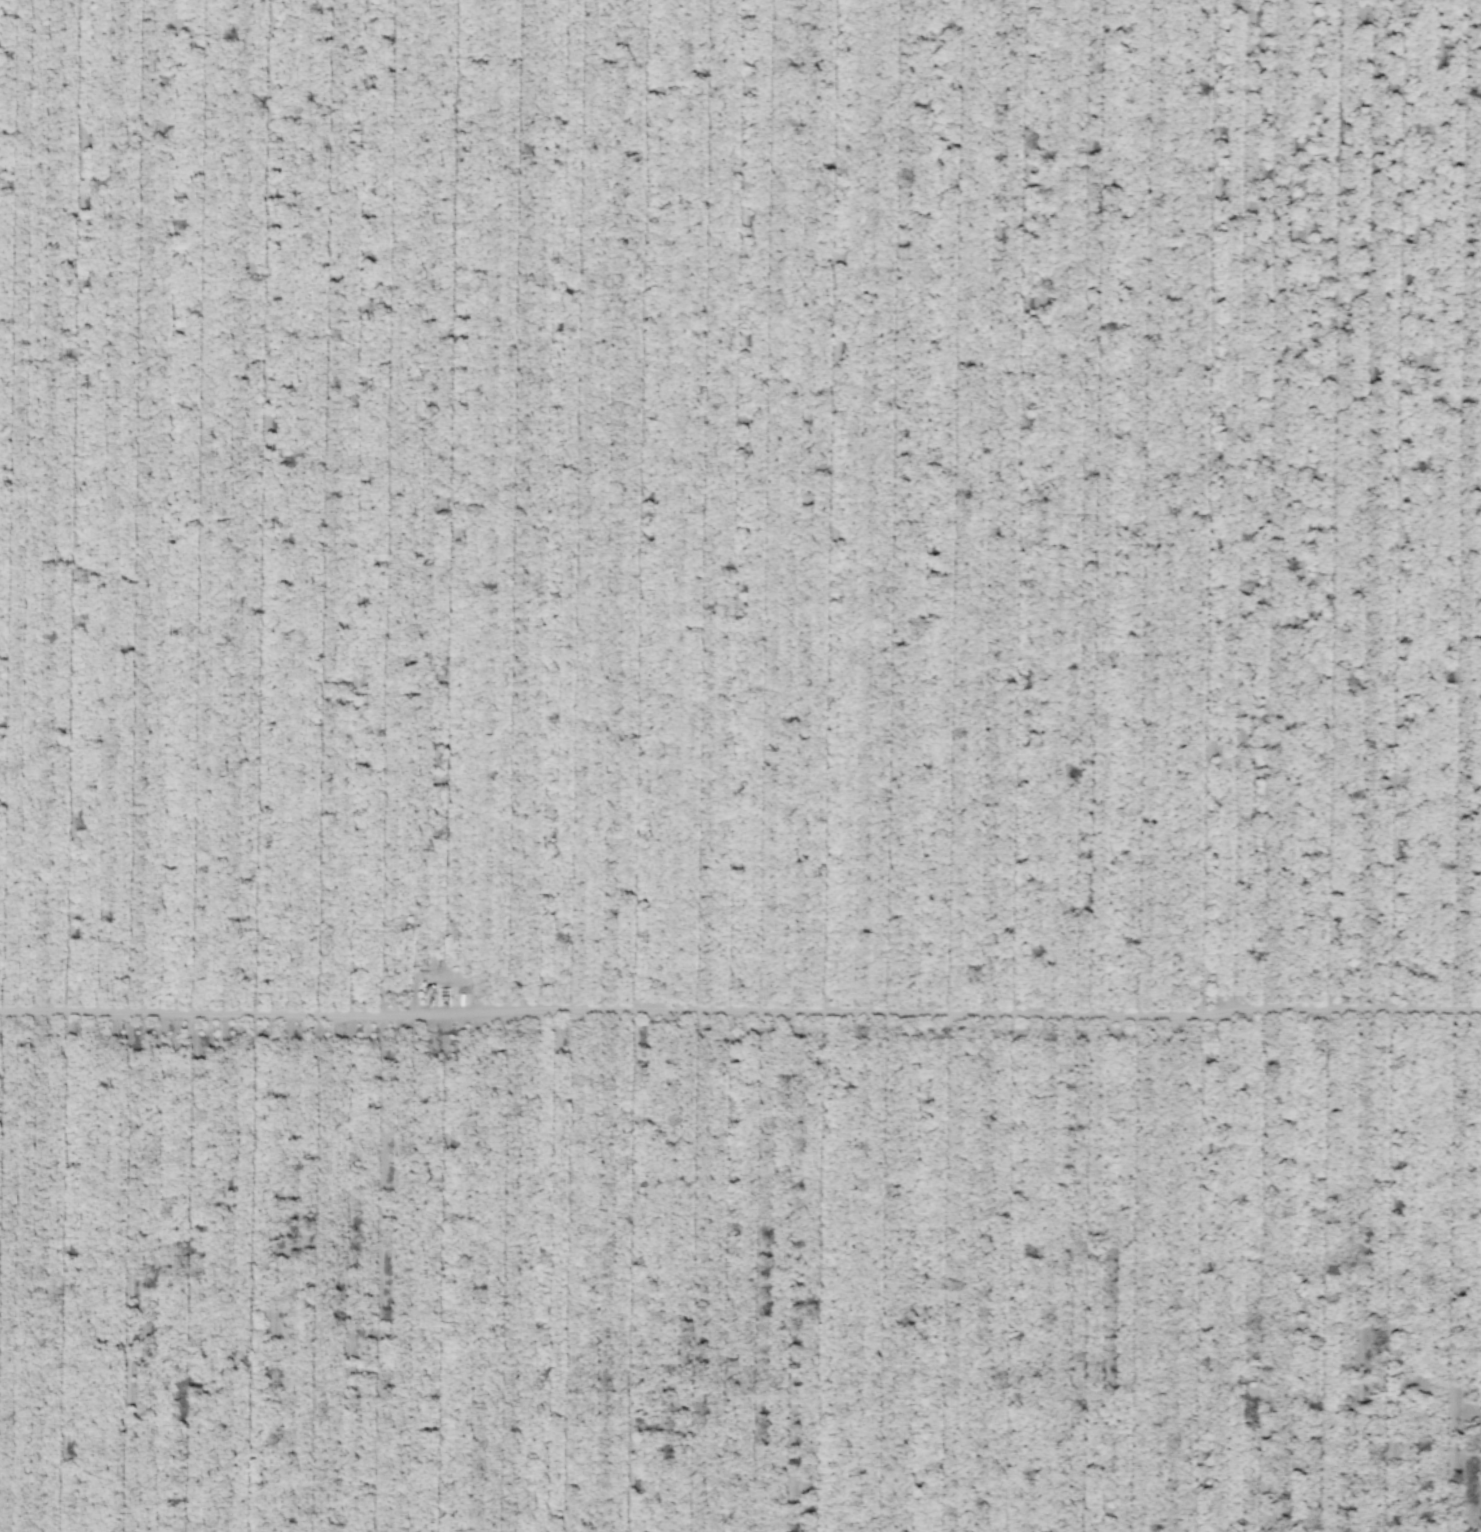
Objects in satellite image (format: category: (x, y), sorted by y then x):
road: (740, 1009)

